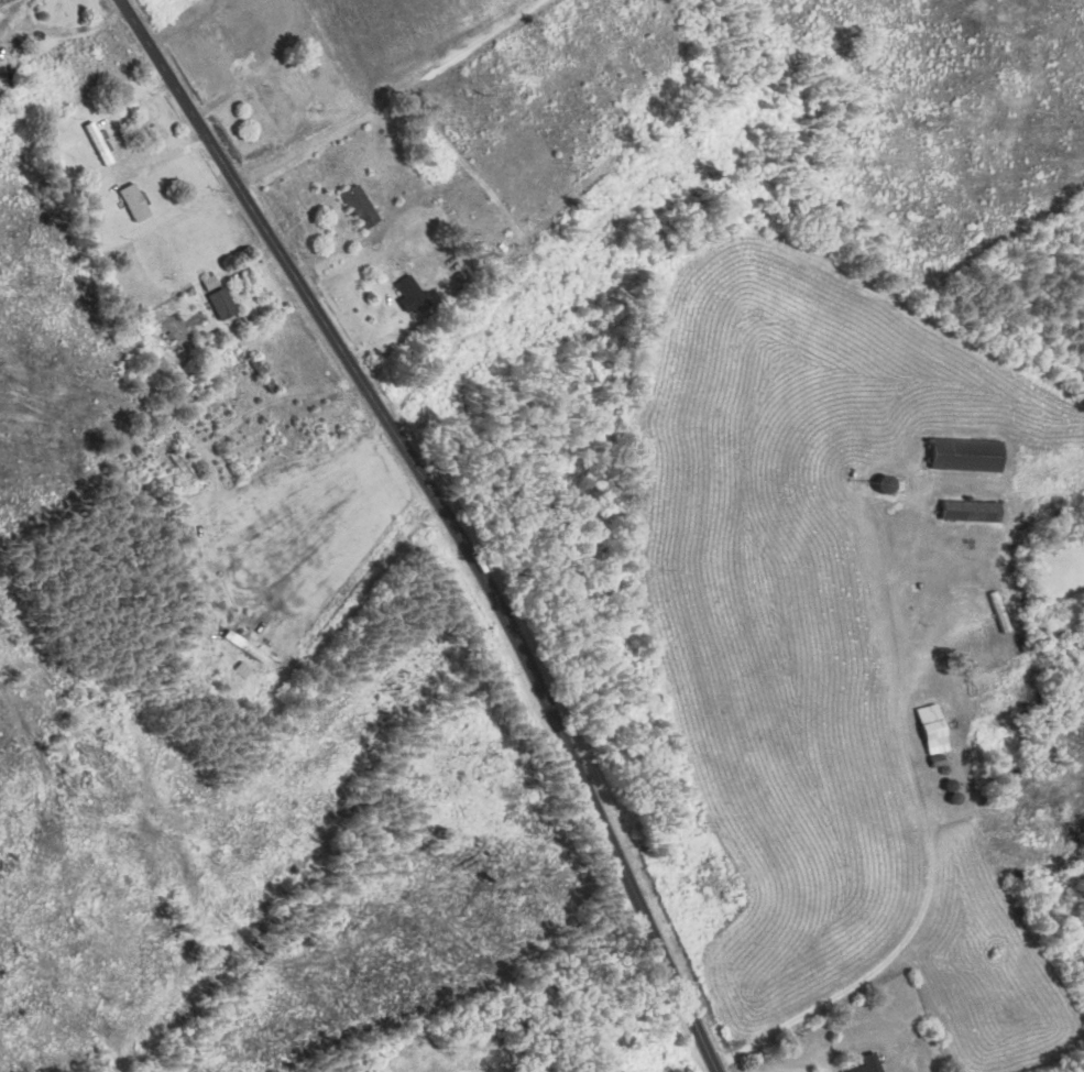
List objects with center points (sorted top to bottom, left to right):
building: (271, 105)
building: (99, 144)
building: (136, 203)
building: (362, 207)
building: (212, 283)
building: (413, 295)
building: (223, 304)
building: (264, 375)
building: (303, 431)
building: (970, 455)
building: (973, 512)
road: (448, 519)
building: (1001, 613)
building: (245, 646)
building: (244, 670)
building: (935, 730)
building: (872, 1063)

